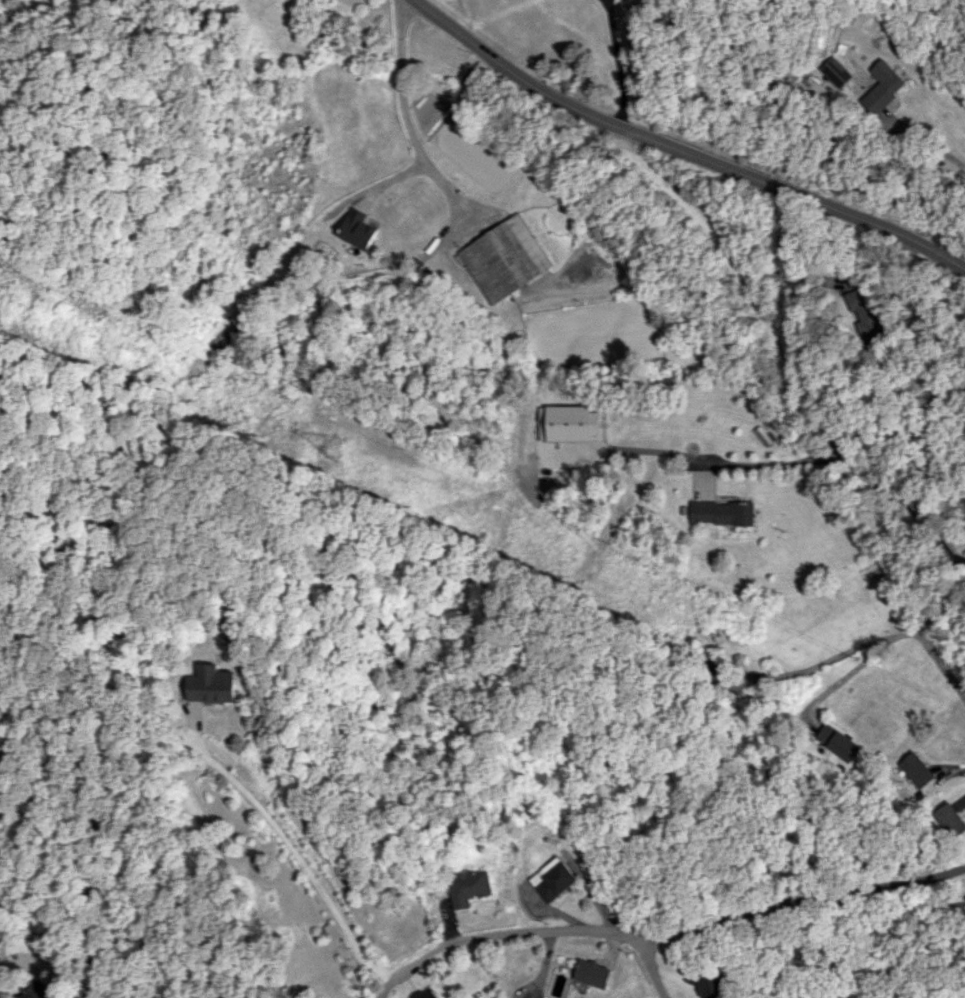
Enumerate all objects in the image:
road: (617, 63)
building: (836, 71)
building: (883, 86)
road: (409, 117)
road: (927, 141)
road: (682, 150)
building: (359, 229)
building: (505, 258)
road: (789, 276)
building: (862, 314)
road: (802, 386)
building: (573, 423)
power tower: (338, 445)
road: (775, 463)
building: (722, 512)
road: (947, 665)
building: (214, 684)
road: (721, 729)
building: (838, 742)
building: (917, 770)
building: (951, 819)
road: (292, 849)
building: (556, 879)
building: (469, 887)
road: (666, 934)
road: (654, 969)
building: (592, 973)
building: (710, 985)
building: (425, 994)
building: (36, 997)

